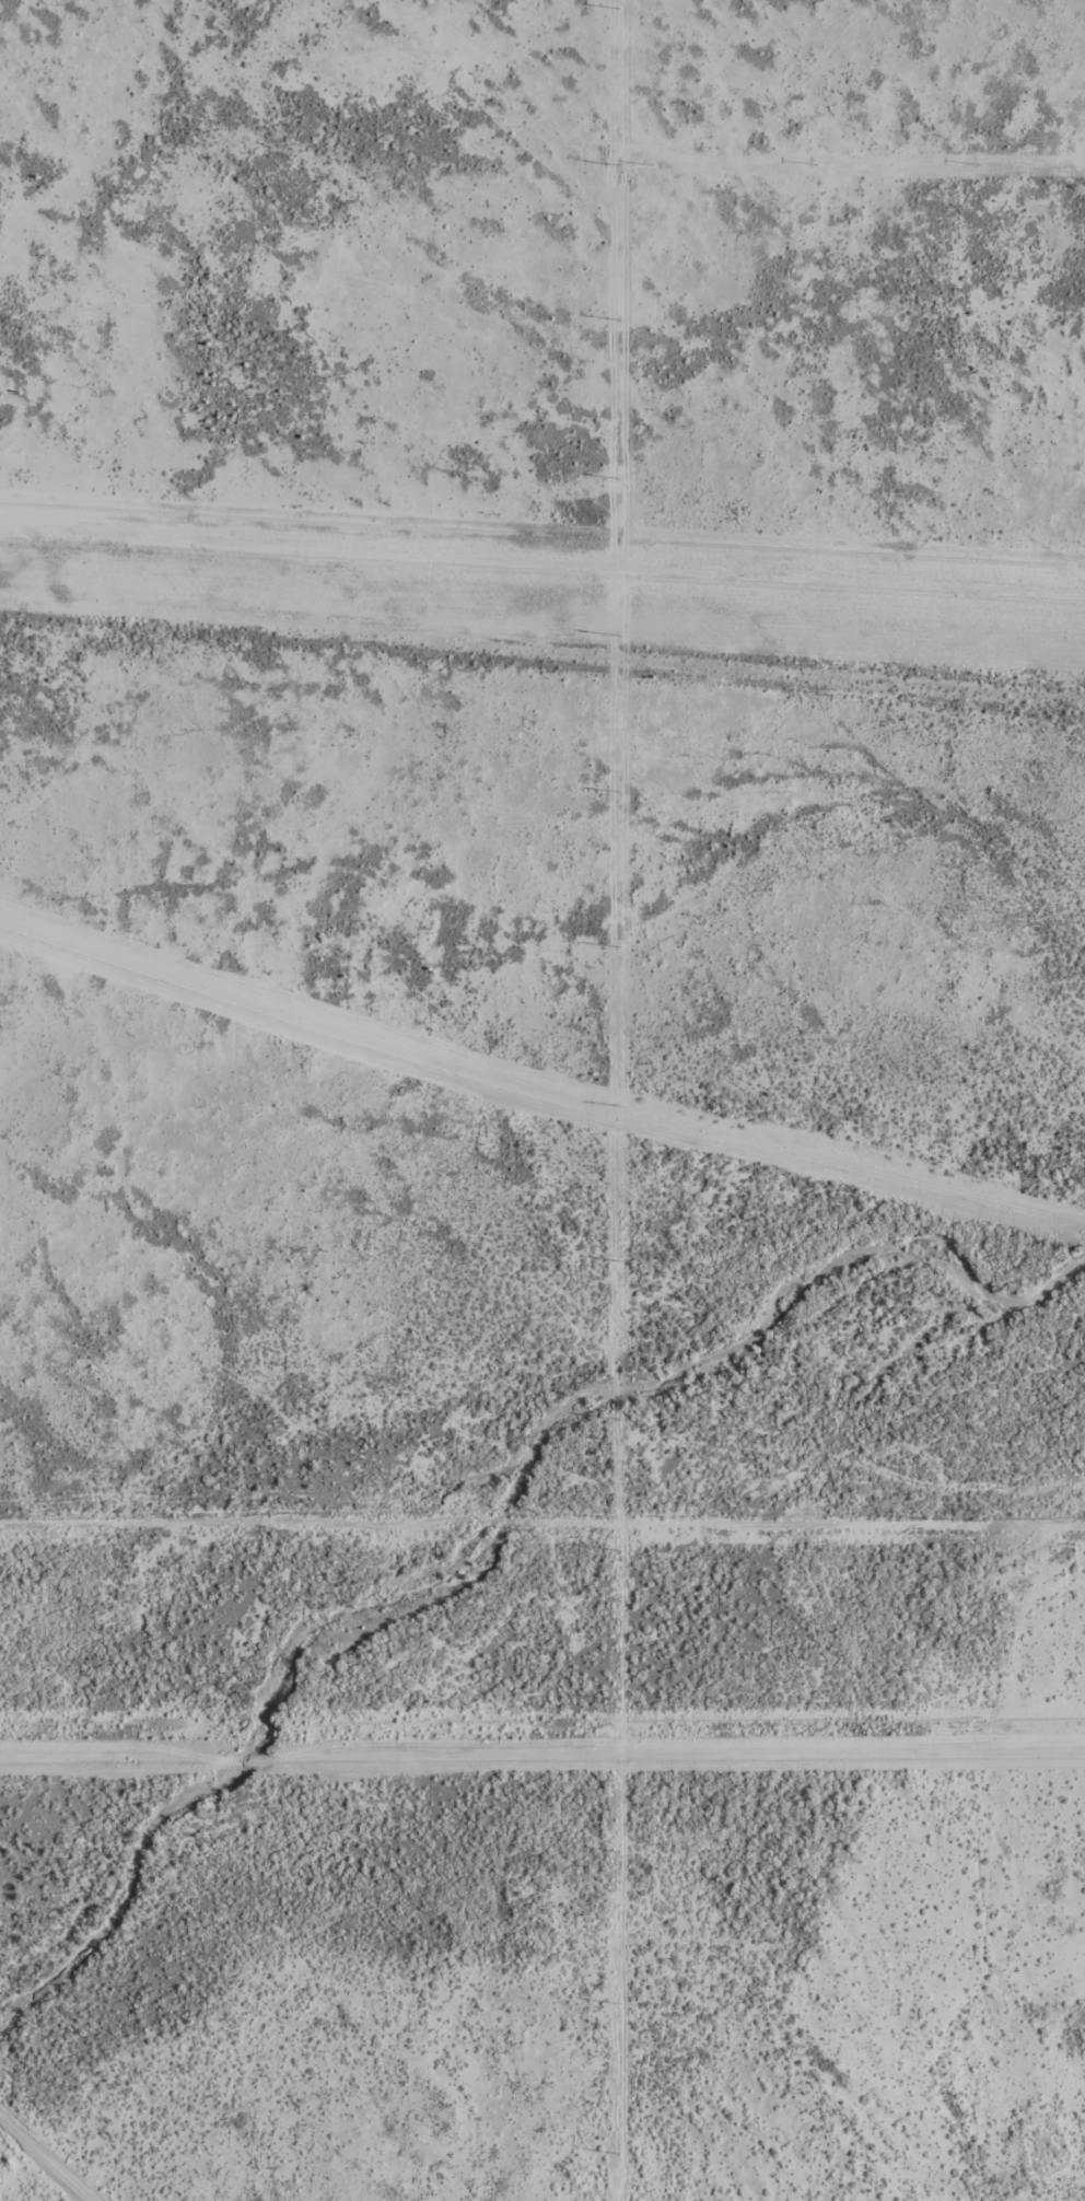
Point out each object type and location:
road: (37, 2166)

